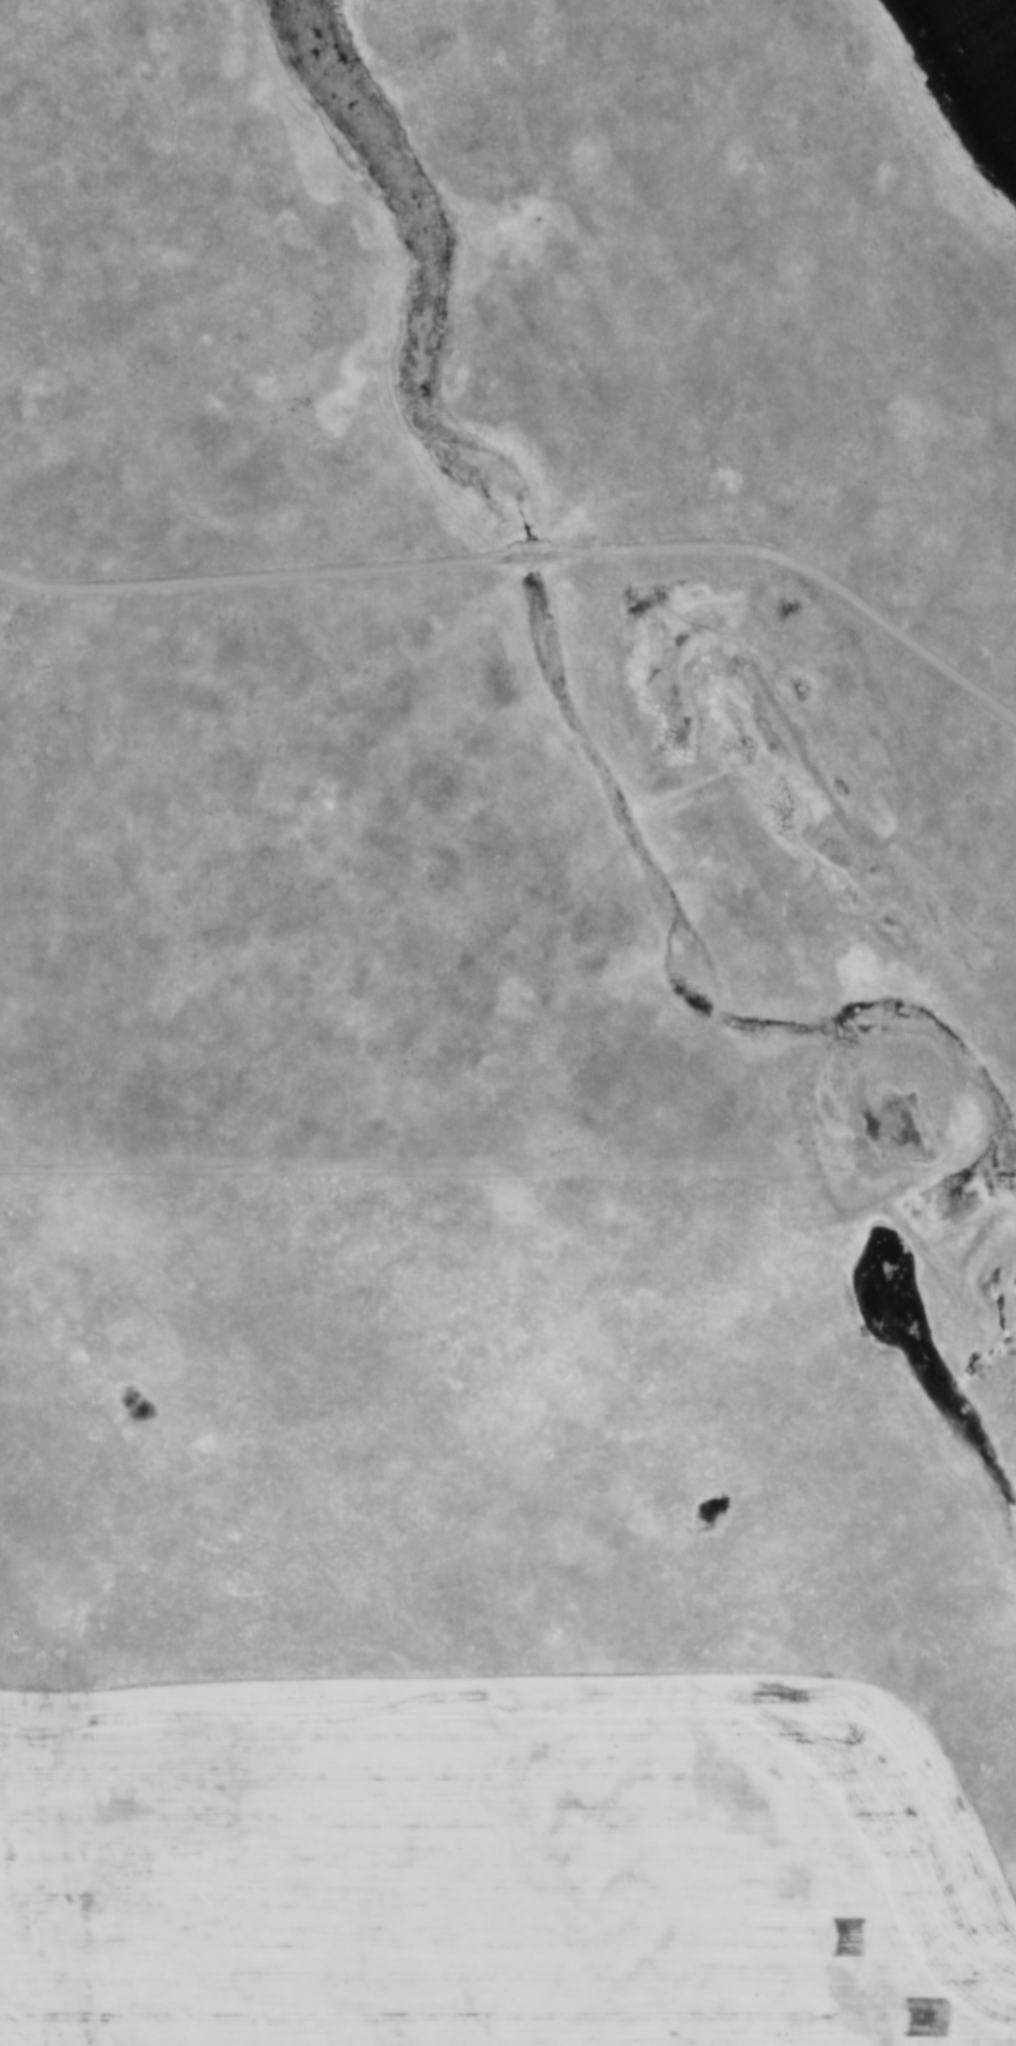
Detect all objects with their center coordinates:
road: (533, 550)

